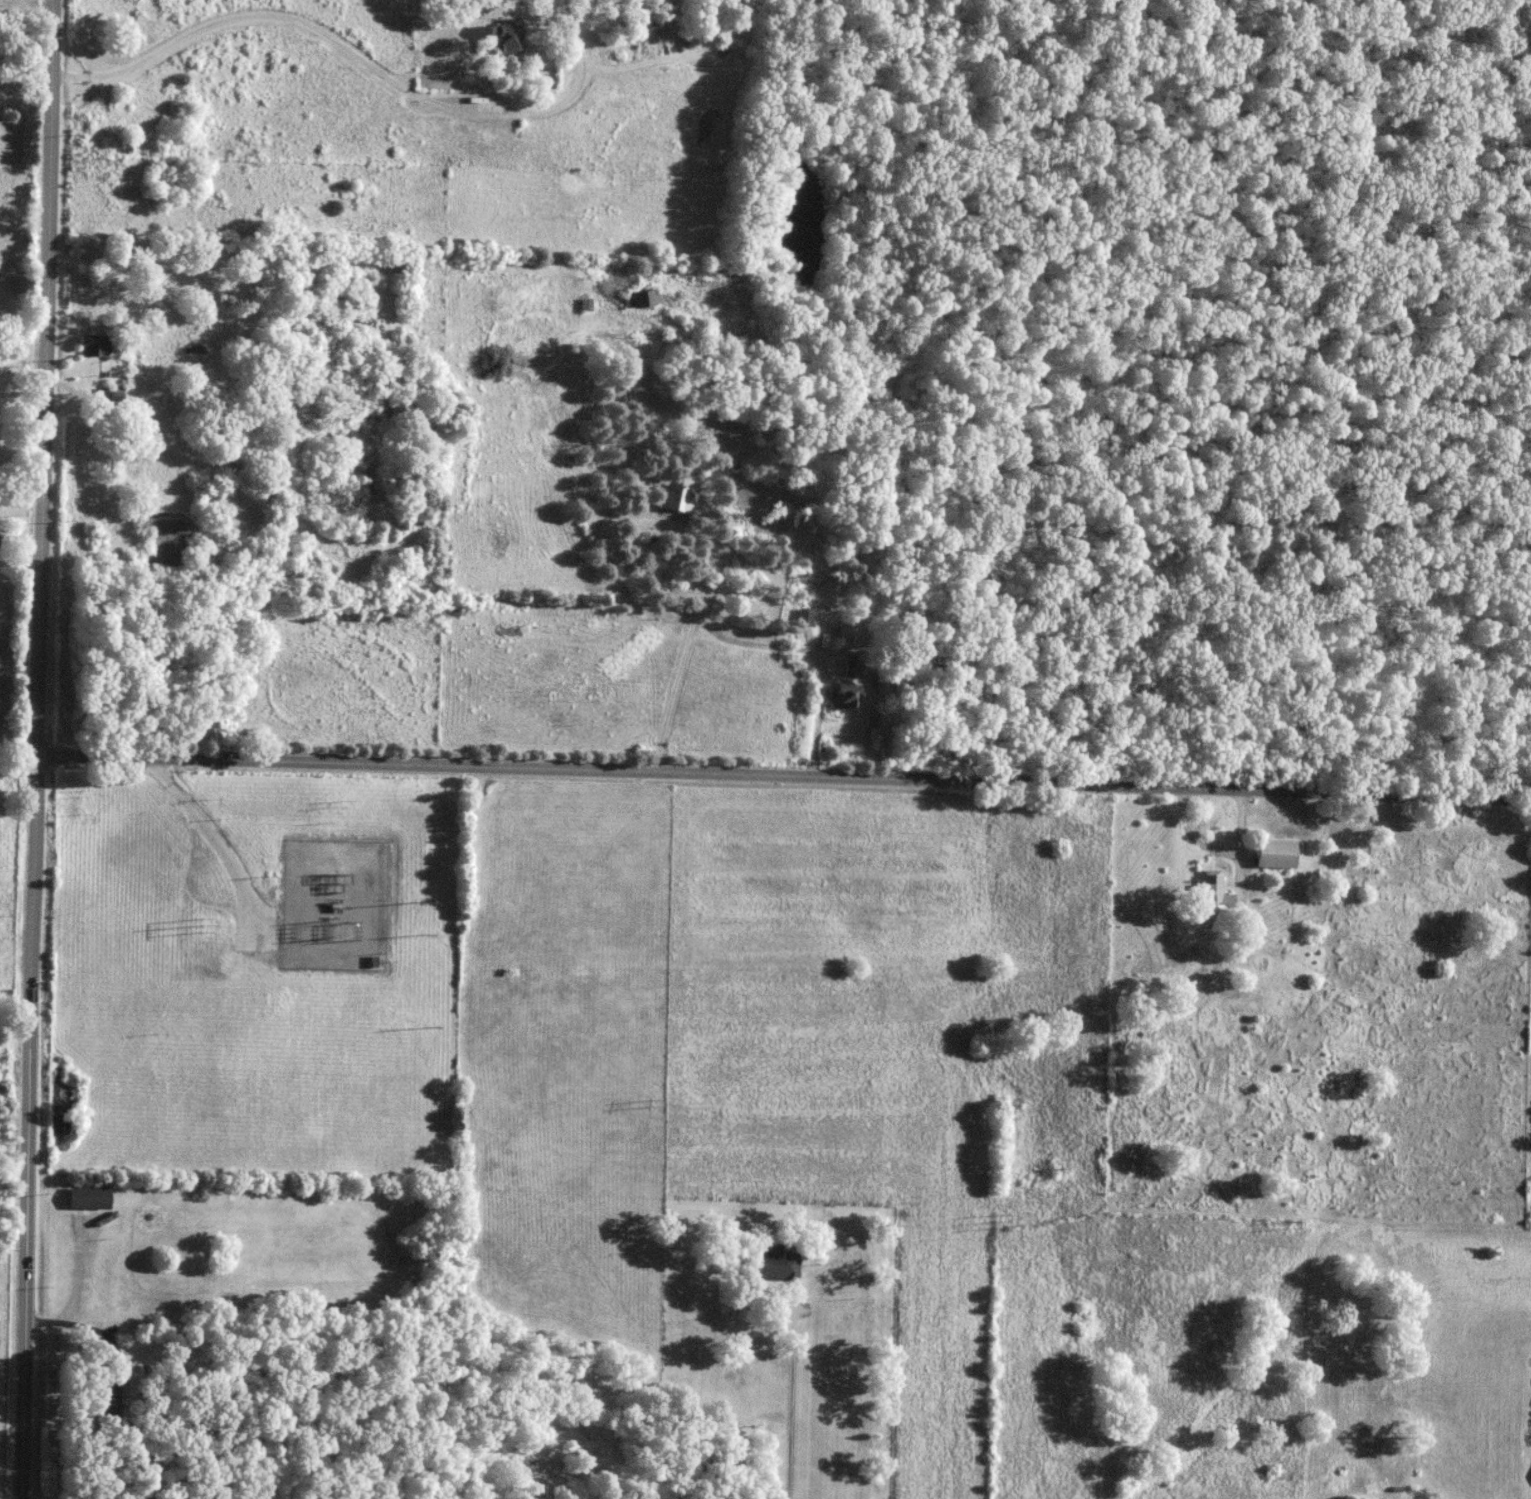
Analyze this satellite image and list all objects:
road: (365, 59)
building: (642, 299)
building: (90, 346)
road: (25, 464)
building: (112, 468)
building: (676, 496)
building: (803, 618)
building: (910, 627)
building: (844, 632)
road: (678, 662)
building: (842, 694)
road: (45, 749)
road: (788, 770)
road: (1216, 847)
building: (1273, 852)
building: (1212, 895)
power substation: (345, 899)
power tower: (8, 915)
power tower: (210, 925)
power tower: (422, 926)
building: (1242, 1005)
power tower: (427, 1026)
power tower: (649, 1102)
building: (87, 1198)
power tower: (1287, 1216)
power tower: (1000, 1219)
building: (769, 1263)
road: (785, 1393)
building: (110, 1395)
building: (733, 1463)

